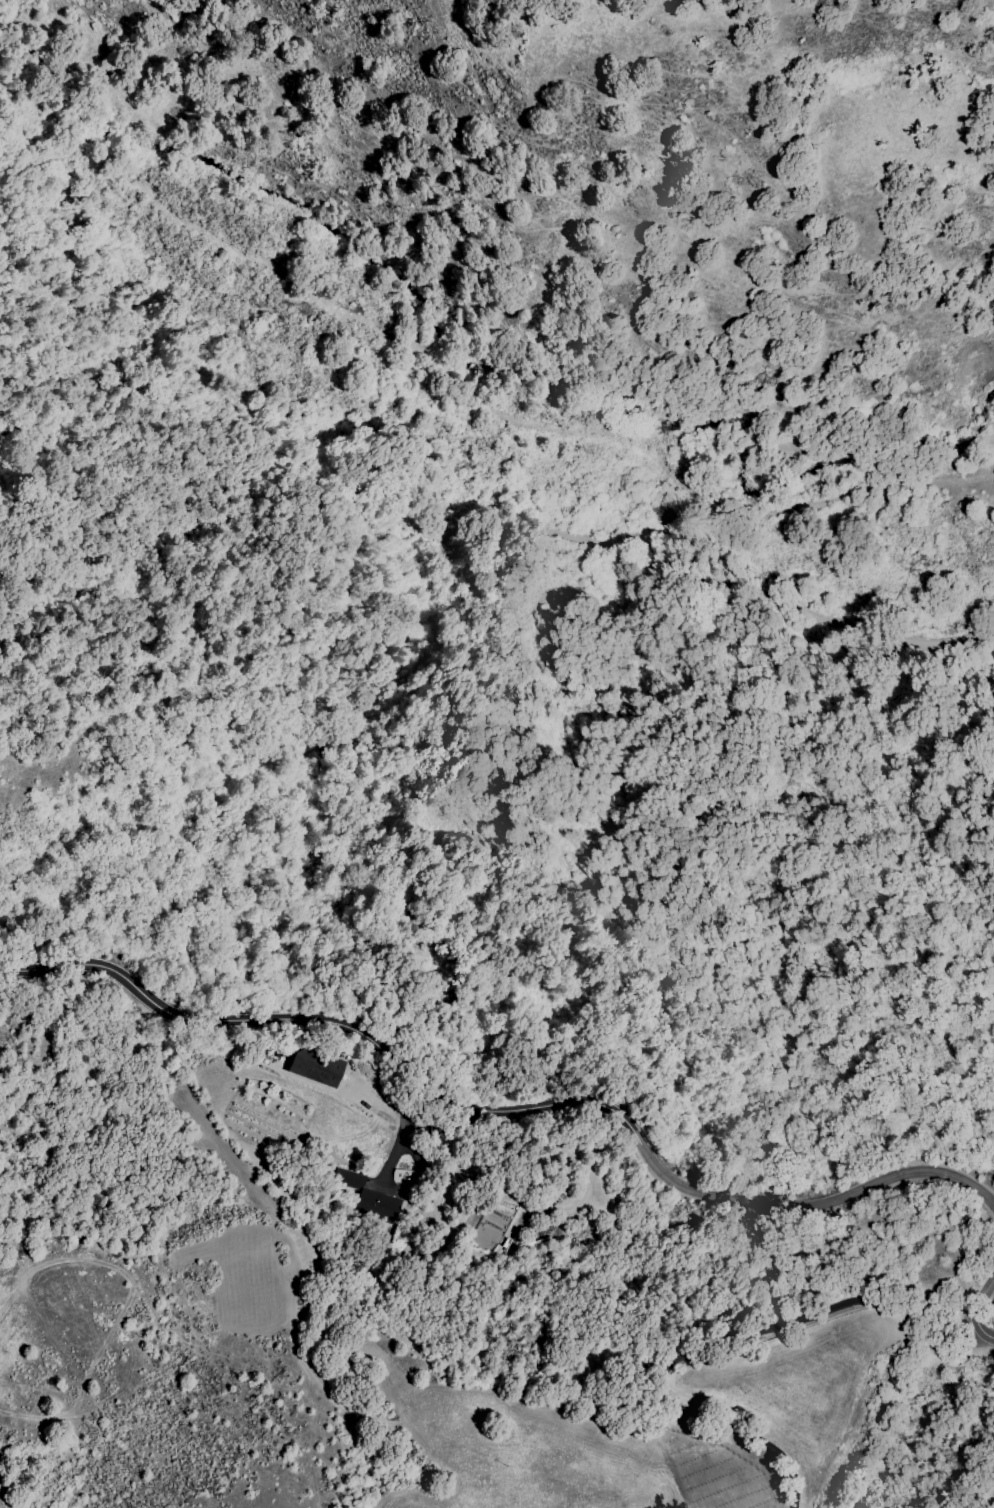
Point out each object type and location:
road: (492, 373)
building: (313, 1066)
road: (500, 1108)
road: (978, 1295)
road: (983, 1330)
road: (715, 1343)

